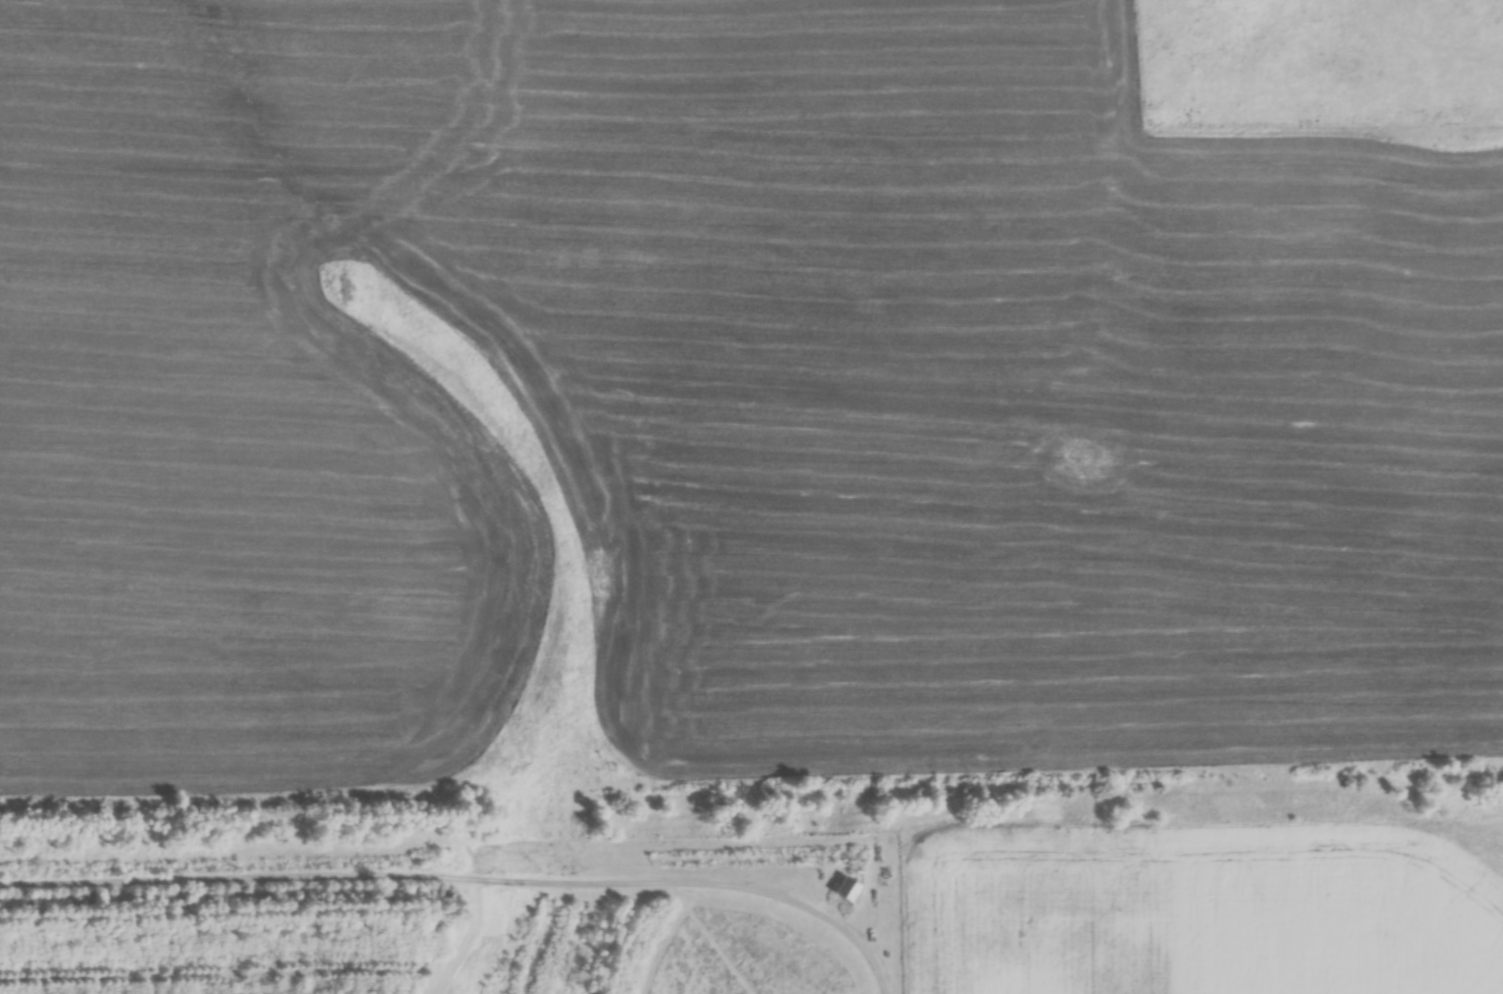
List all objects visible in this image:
building: (846, 889)

